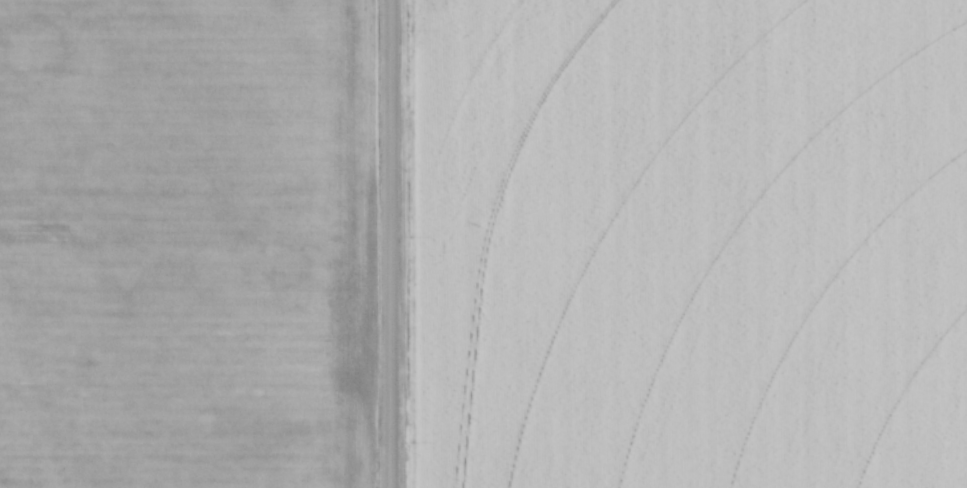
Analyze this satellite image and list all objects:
crop: (182, 244)
road: (389, 244)
crop: (690, 244)

